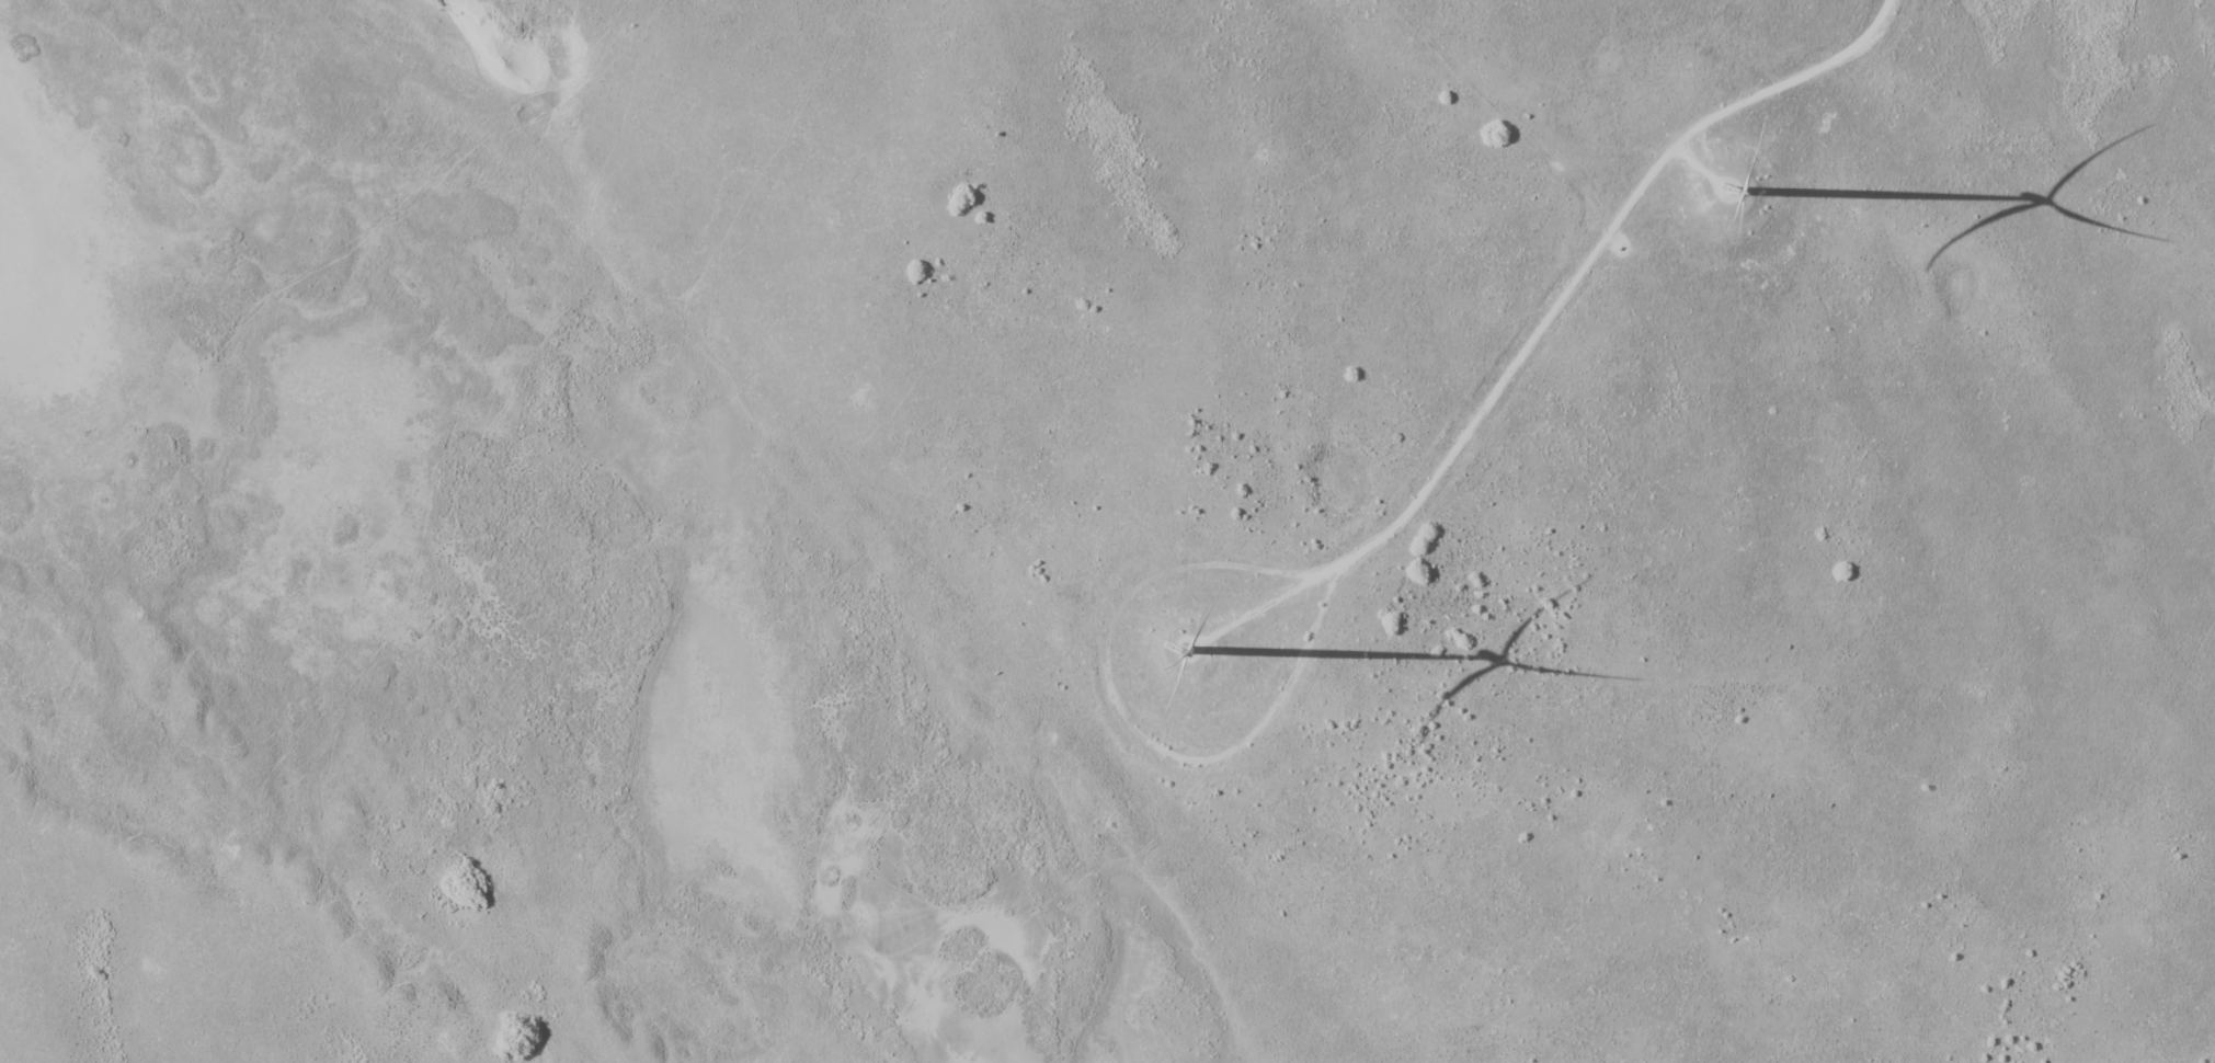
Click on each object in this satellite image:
wind turbine: (1728, 193)
wind turbine: (1187, 652)

